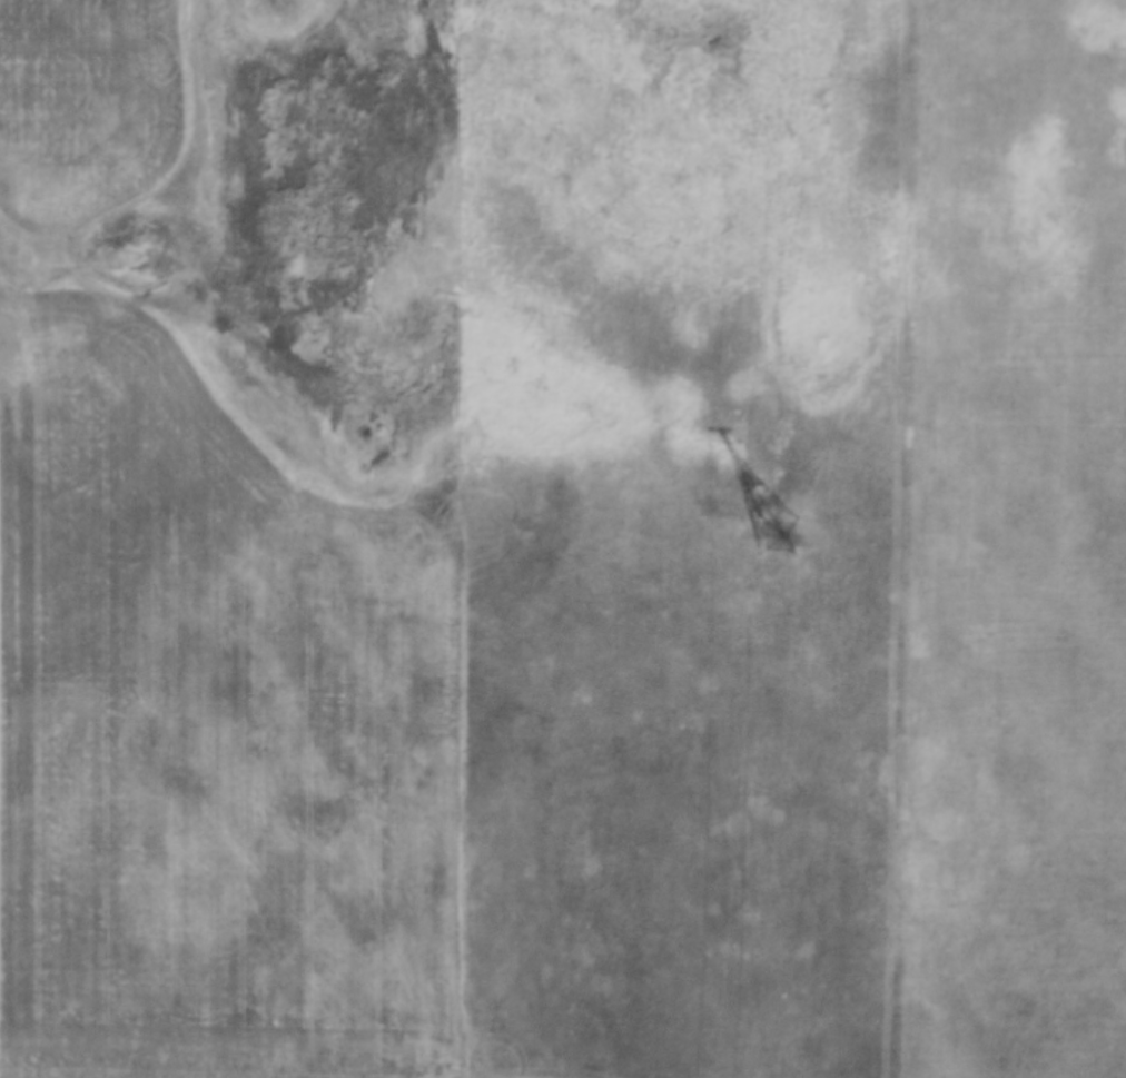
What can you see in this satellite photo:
power tower: (784, 535)

